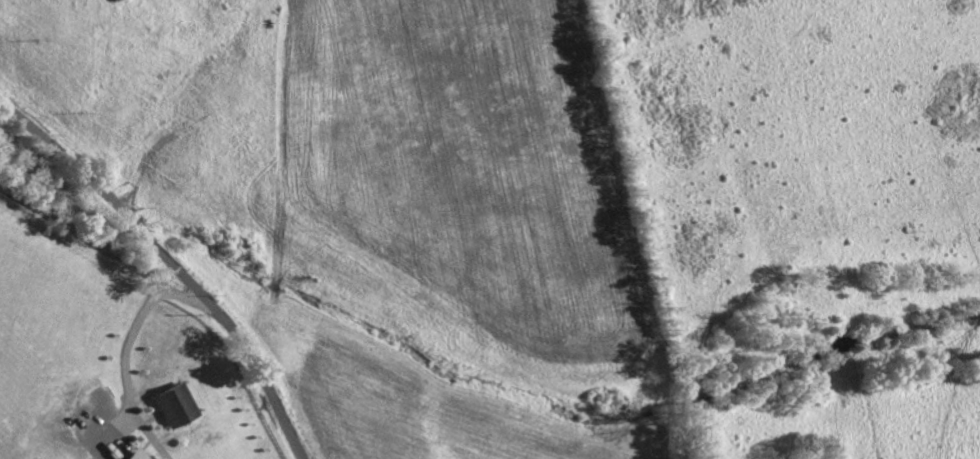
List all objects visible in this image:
road: (112, 253)
road: (172, 261)
road: (127, 348)
building: (176, 407)
building: (137, 455)

